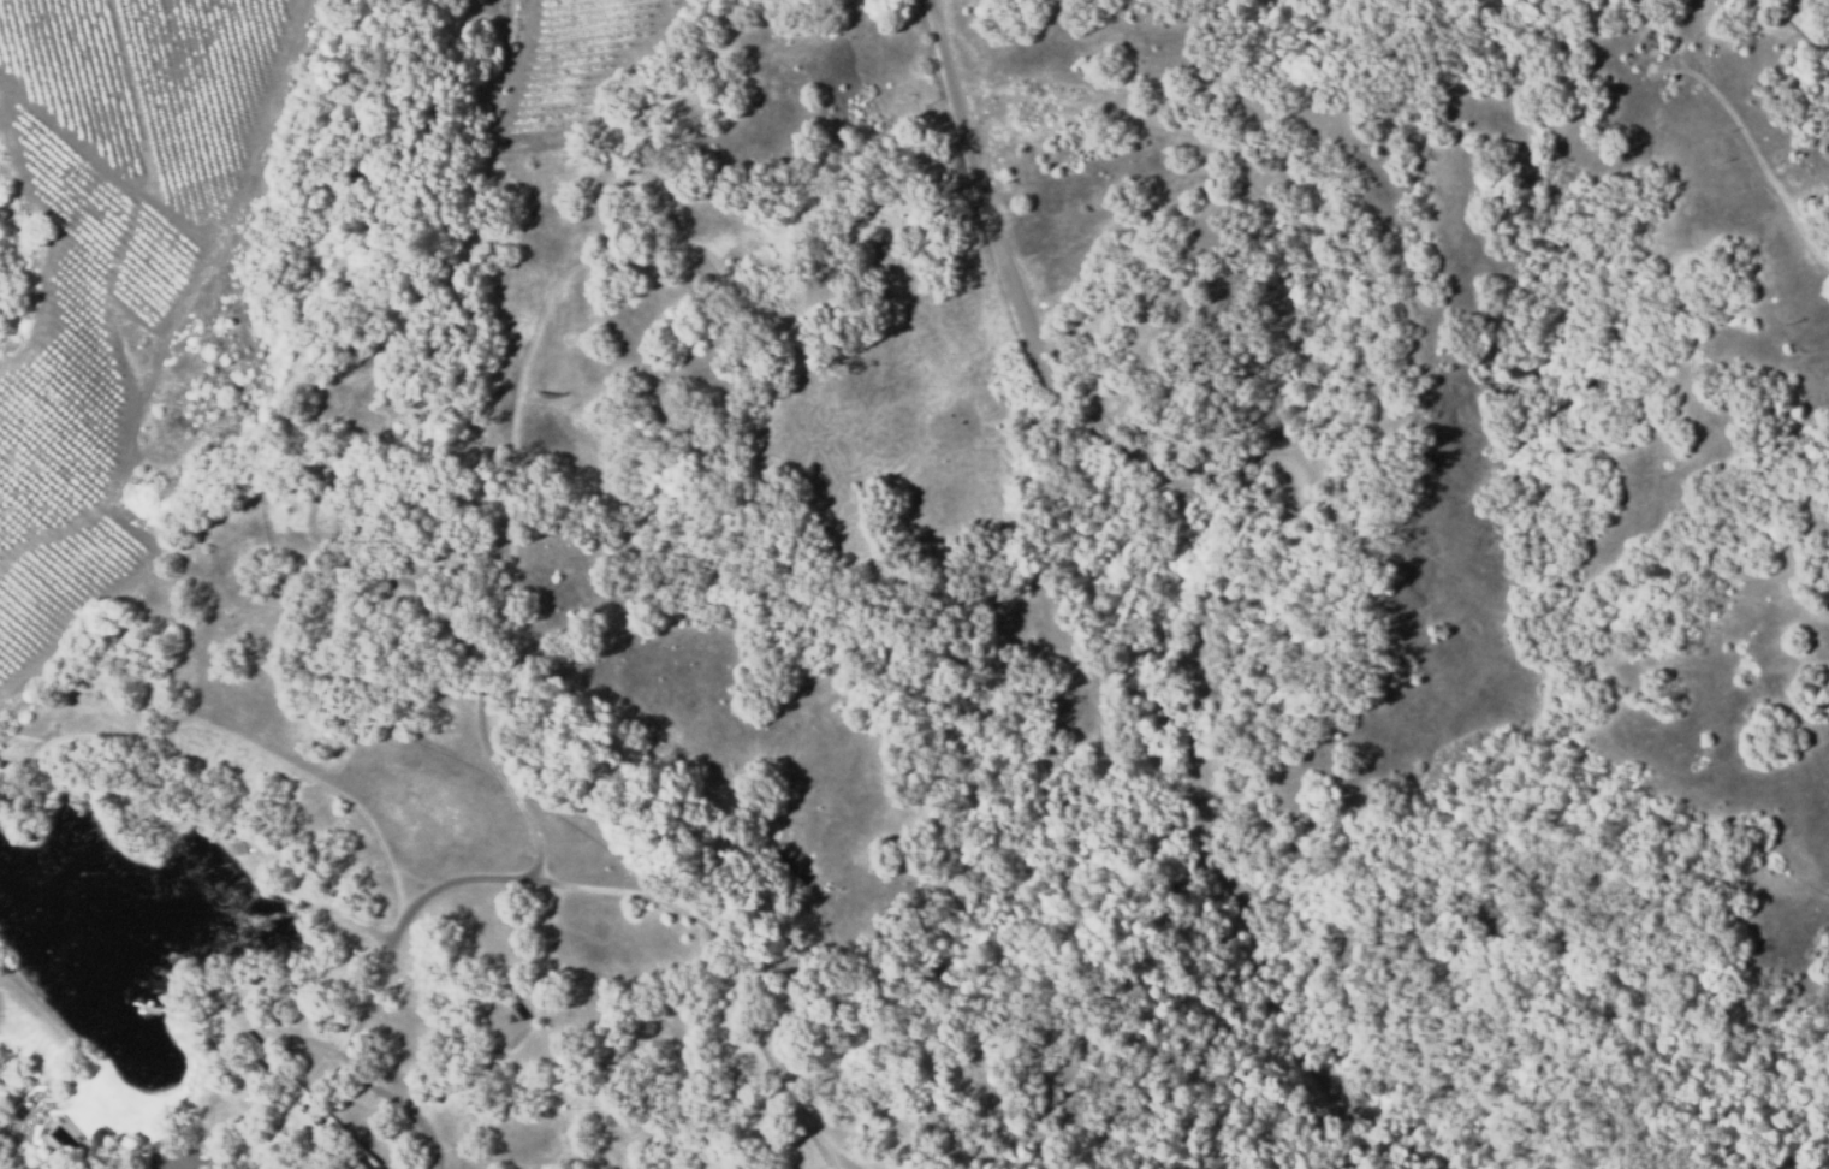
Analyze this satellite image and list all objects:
road: (1805, 29)
road: (1255, 546)
road: (363, 969)
building: (308, 1105)
building: (111, 1155)

